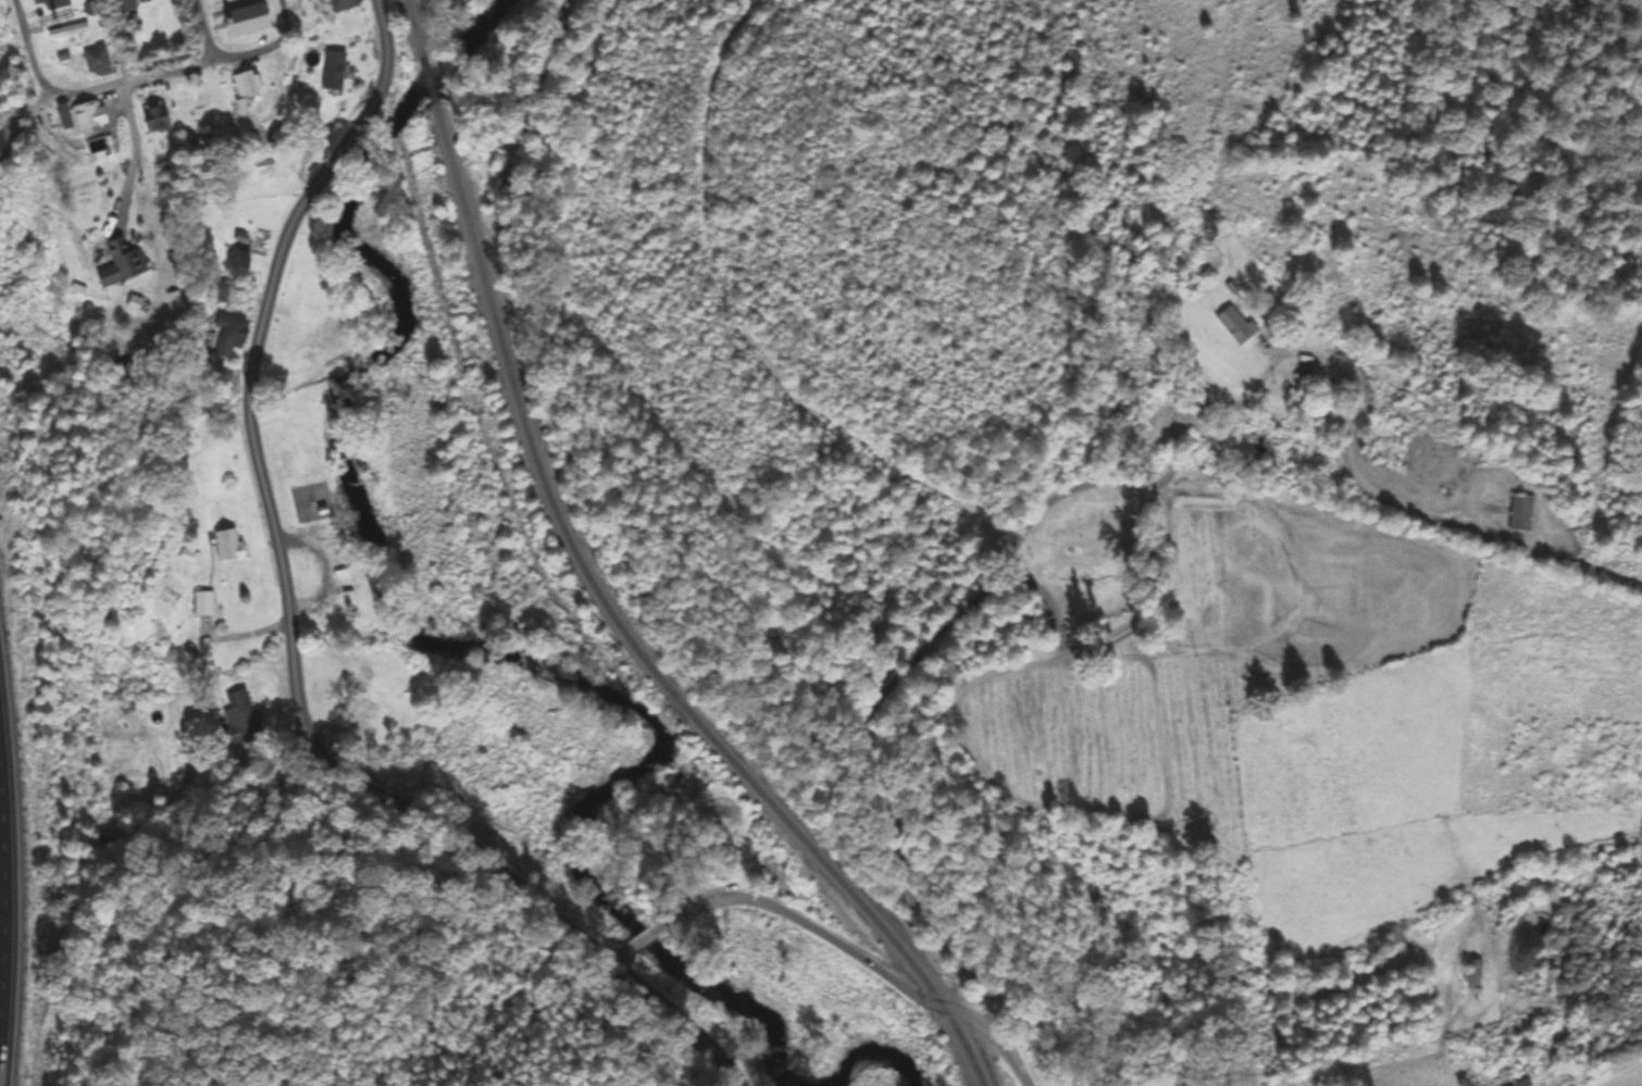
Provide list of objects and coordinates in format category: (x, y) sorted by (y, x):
building: (126, 1)
building: (52, 4)
building: (341, 5)
building: (245, 21)
road: (283, 21)
railway: (414, 27)
road: (204, 29)
building: (67, 32)
building: (160, 39)
road: (386, 39)
road: (29, 50)
building: (97, 61)
road: (173, 67)
building: (333, 71)
railway: (430, 78)
building: (245, 84)
railway: (535, 86)
road: (22, 115)
building: (89, 116)
building: (154, 118)
building: (1201, 221)
building: (117, 262)
building: (1234, 326)
building: (226, 337)
building: (1520, 514)
building: (228, 547)
road: (1145, 603)
building: (203, 604)
railway: (630, 639)
building: (148, 656)
river: (488, 657)
road: (298, 682)
road: (885, 696)
building: (242, 716)
road: (5, 912)
road: (646, 936)
road: (622, 957)
road: (861, 959)
building: (1475, 969)

